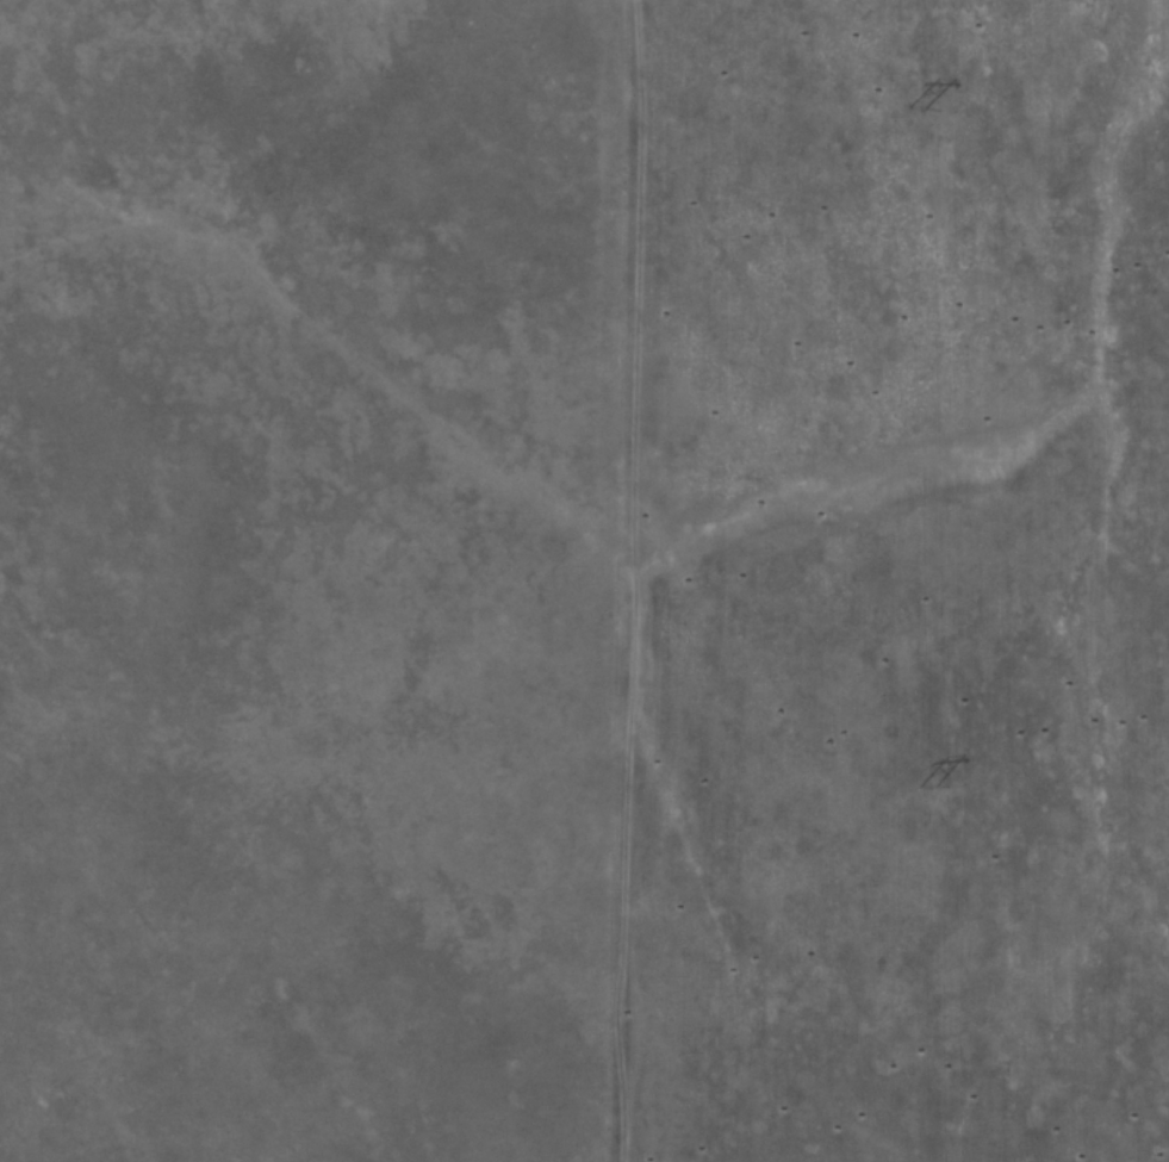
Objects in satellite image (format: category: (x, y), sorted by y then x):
power tower: (909, 111)
power tower: (924, 785)

